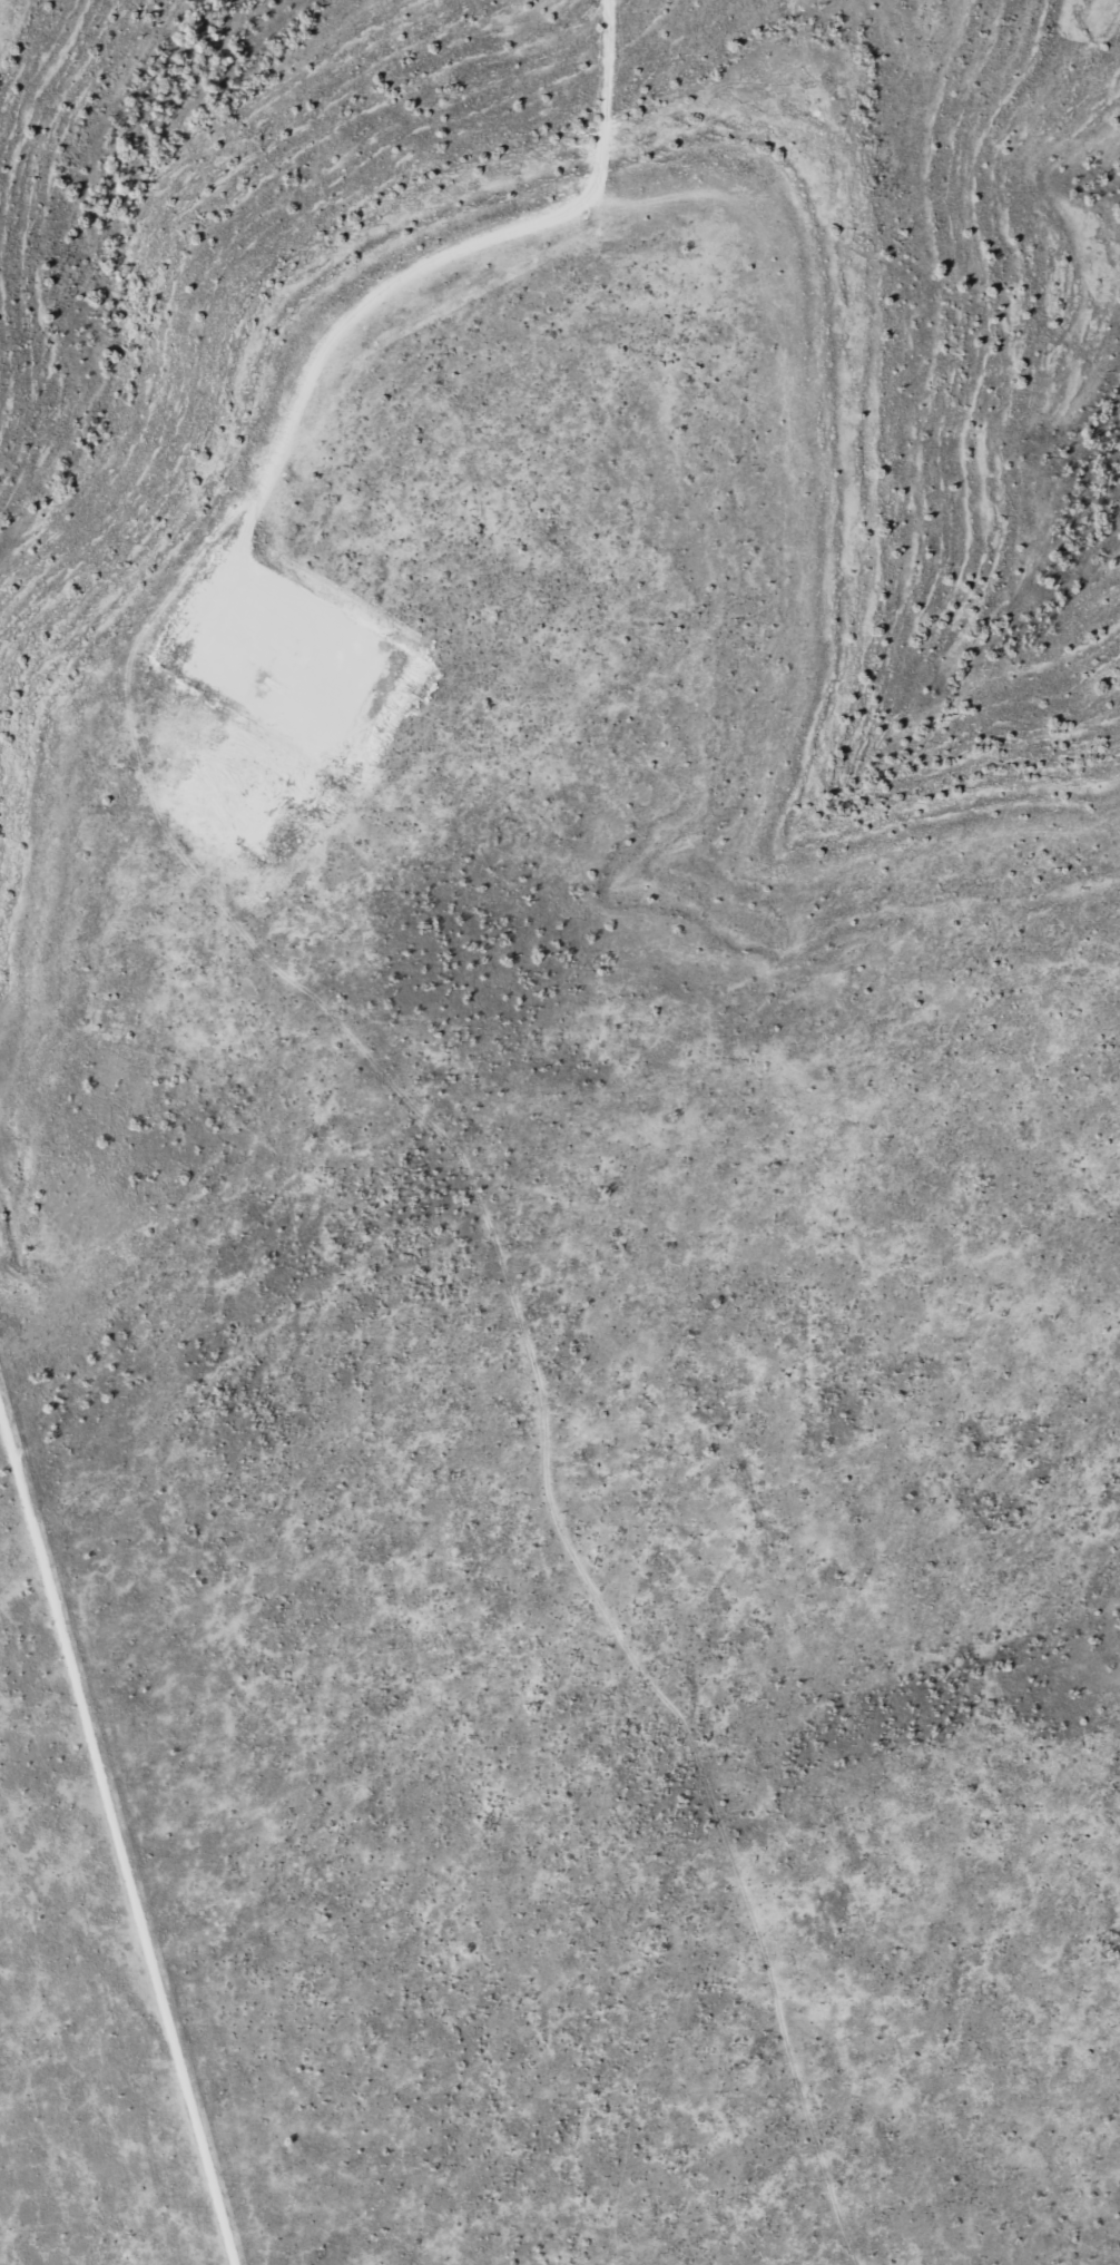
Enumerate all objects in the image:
road: (181, 1998)

